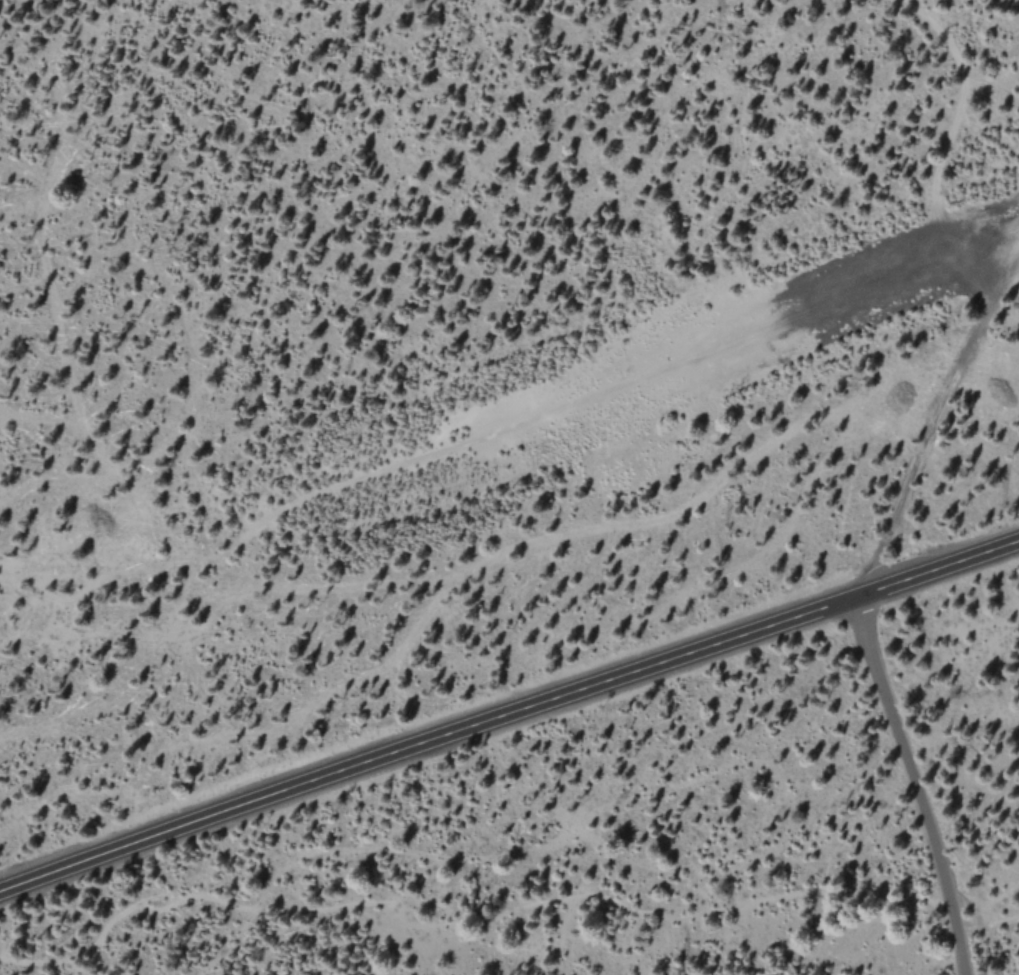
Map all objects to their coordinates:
road: (960, 106)
airport runway: (841, 303)
road: (949, 404)
road: (508, 714)
road: (914, 785)
road: (989, 927)

